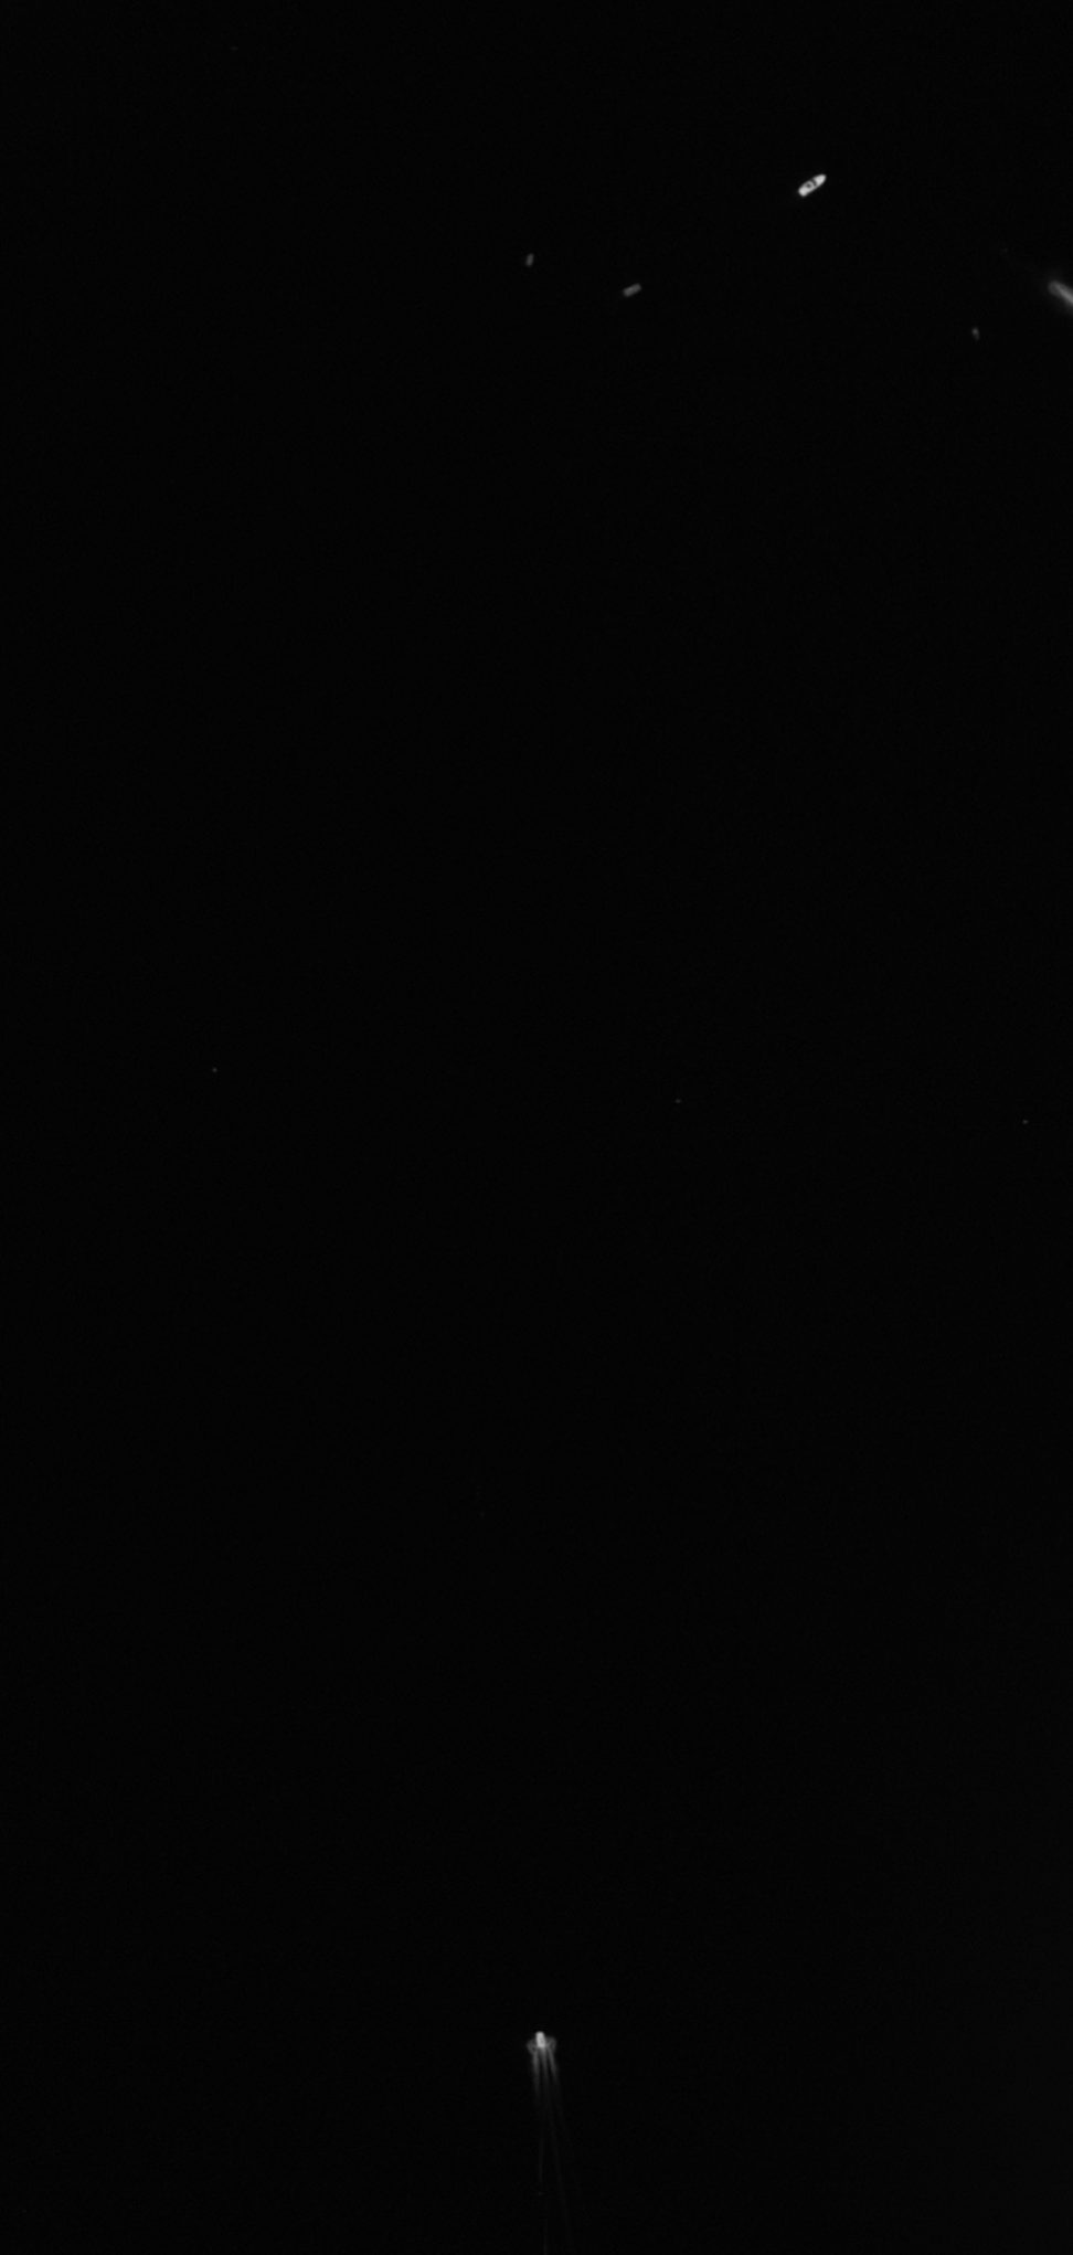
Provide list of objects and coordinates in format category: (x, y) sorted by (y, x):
river: (288, 1006)

